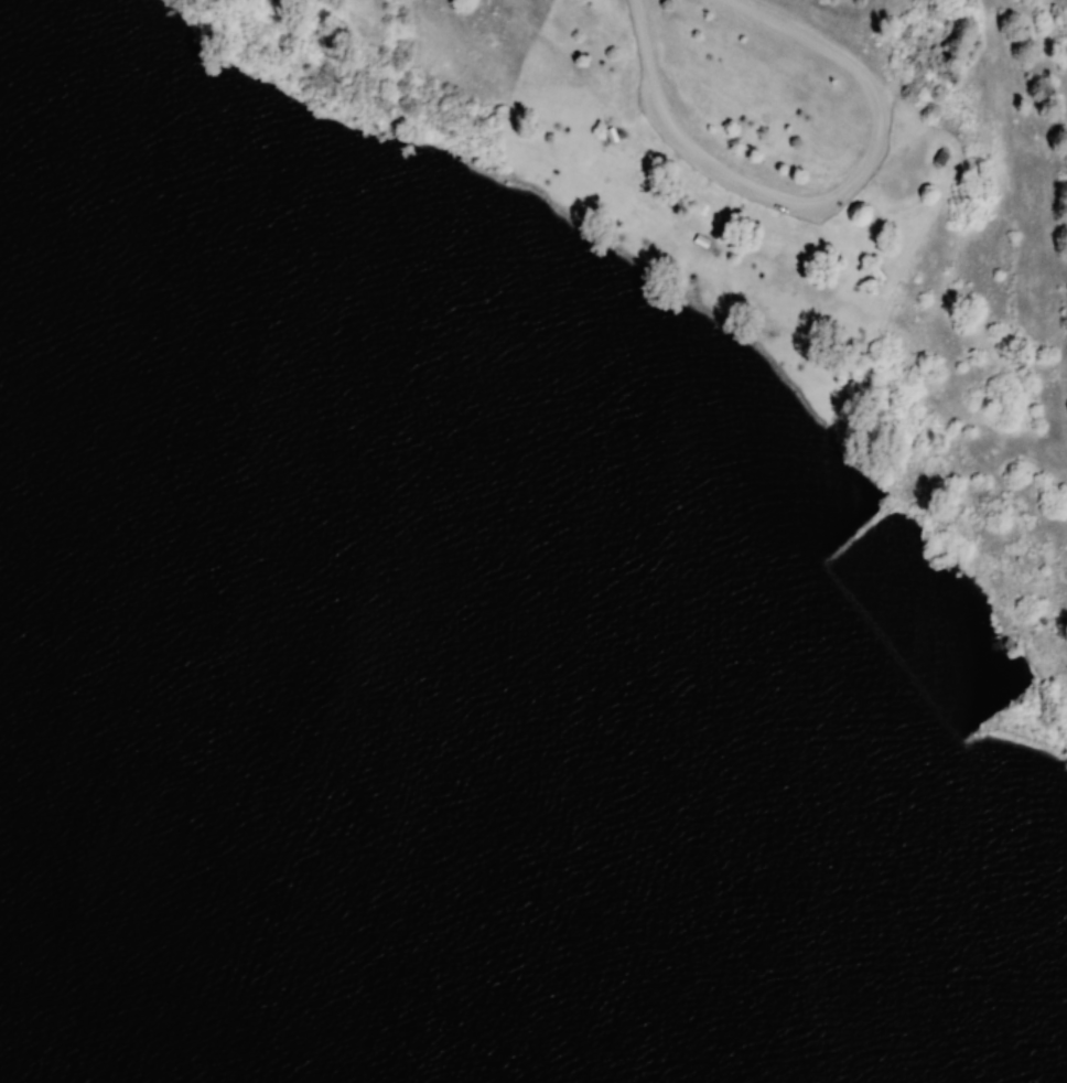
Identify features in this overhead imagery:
road: (819, 207)
park: (533, 541)

